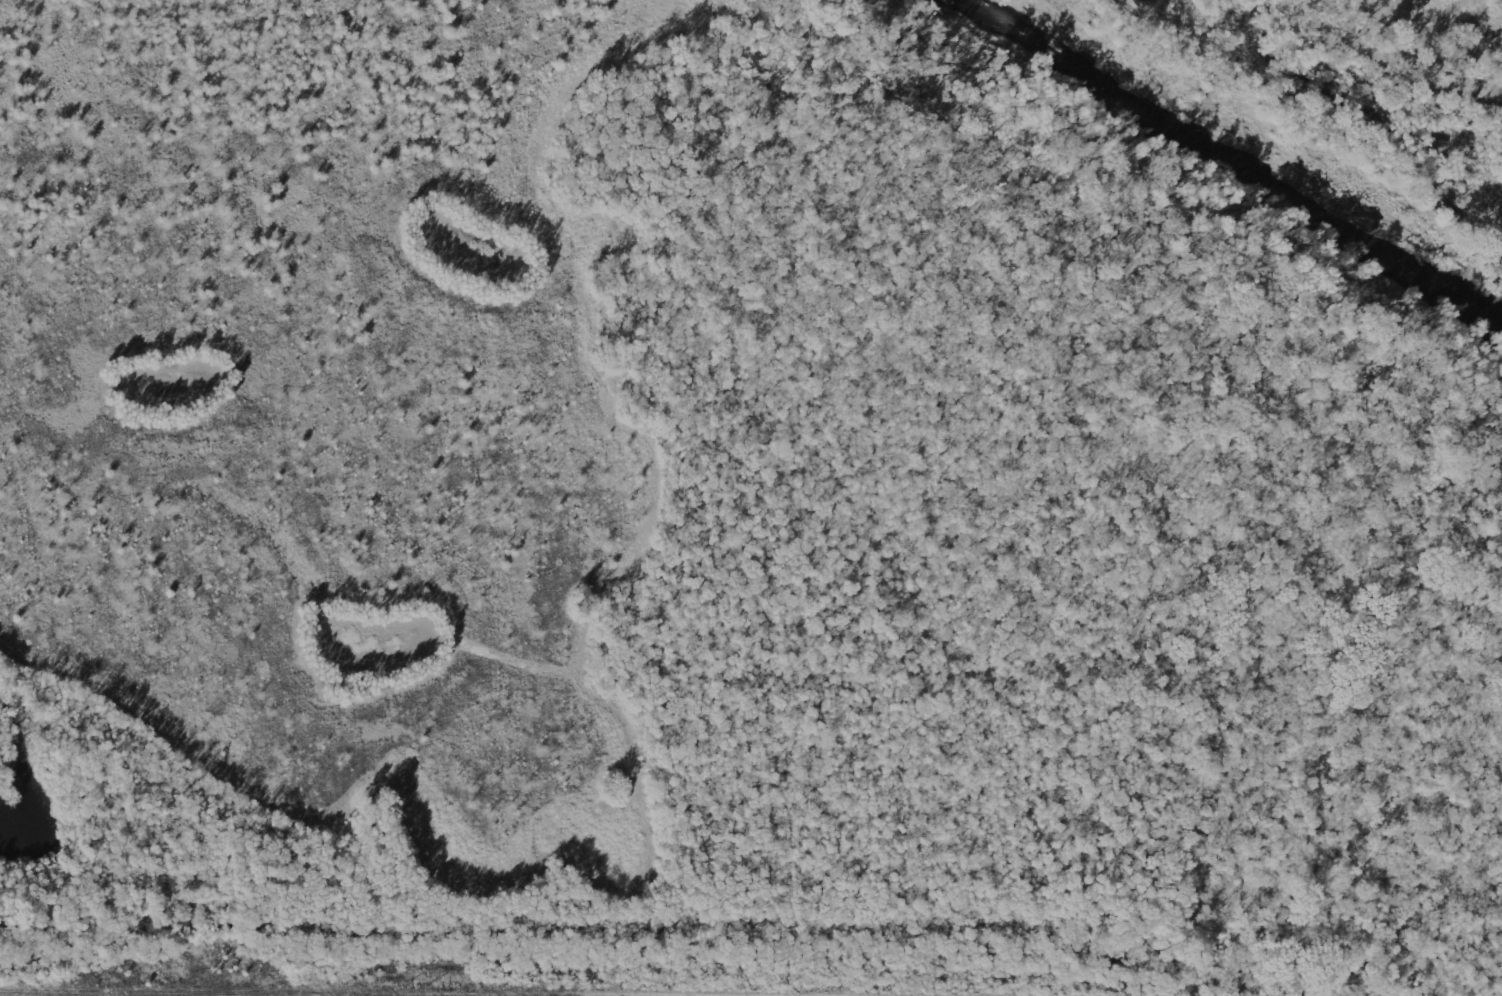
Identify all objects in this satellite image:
river: (1227, 164)

